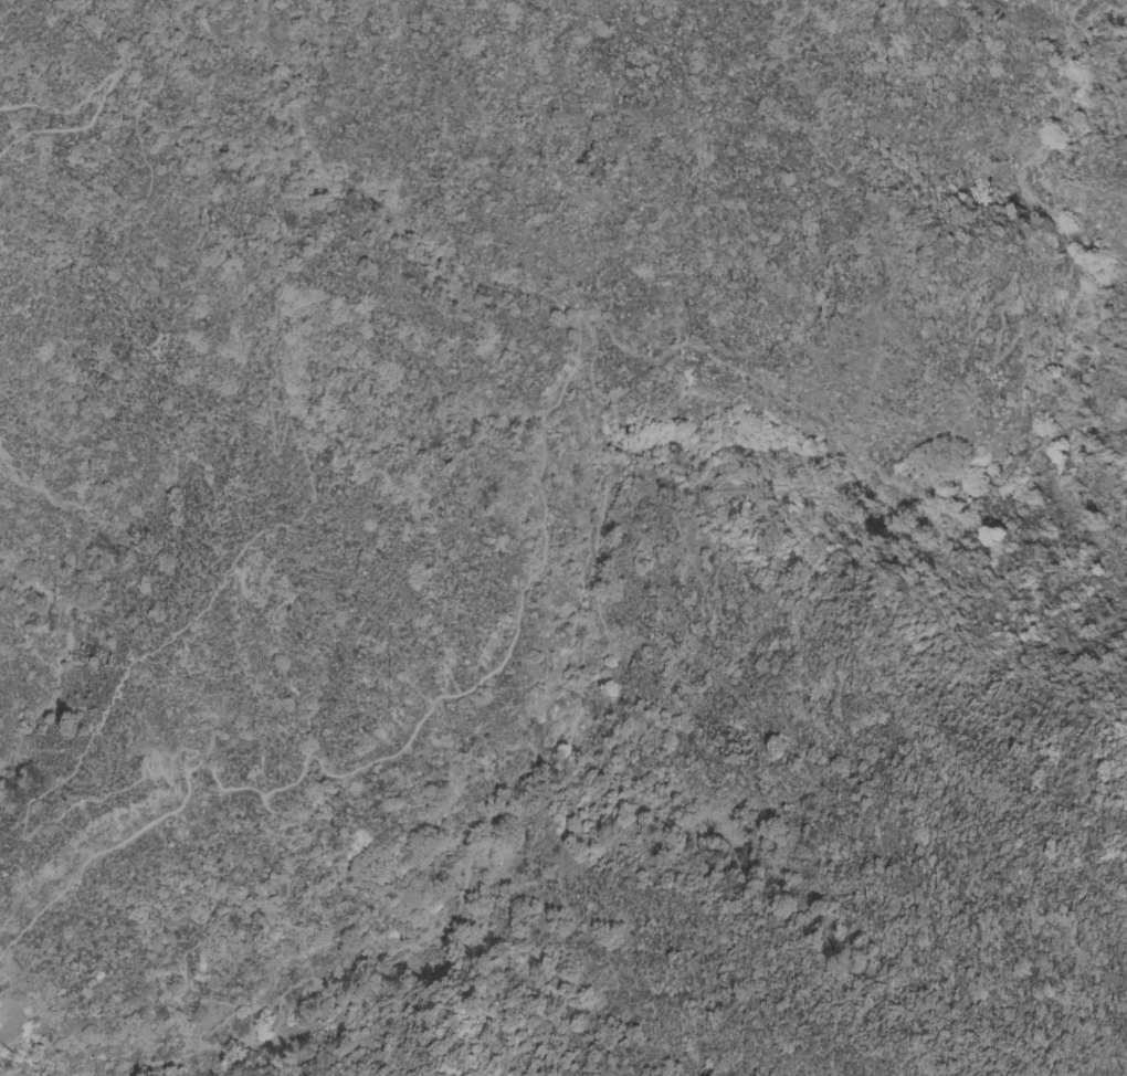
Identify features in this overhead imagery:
road: (108, 92)
road: (936, 256)
road: (567, 380)
road: (874, 495)
road: (270, 527)
road: (800, 683)
road: (480, 832)
road: (257, 887)
road: (217, 919)
road: (1038, 1049)
road: (966, 1063)
road: (1117, 1068)
road: (913, 1073)

